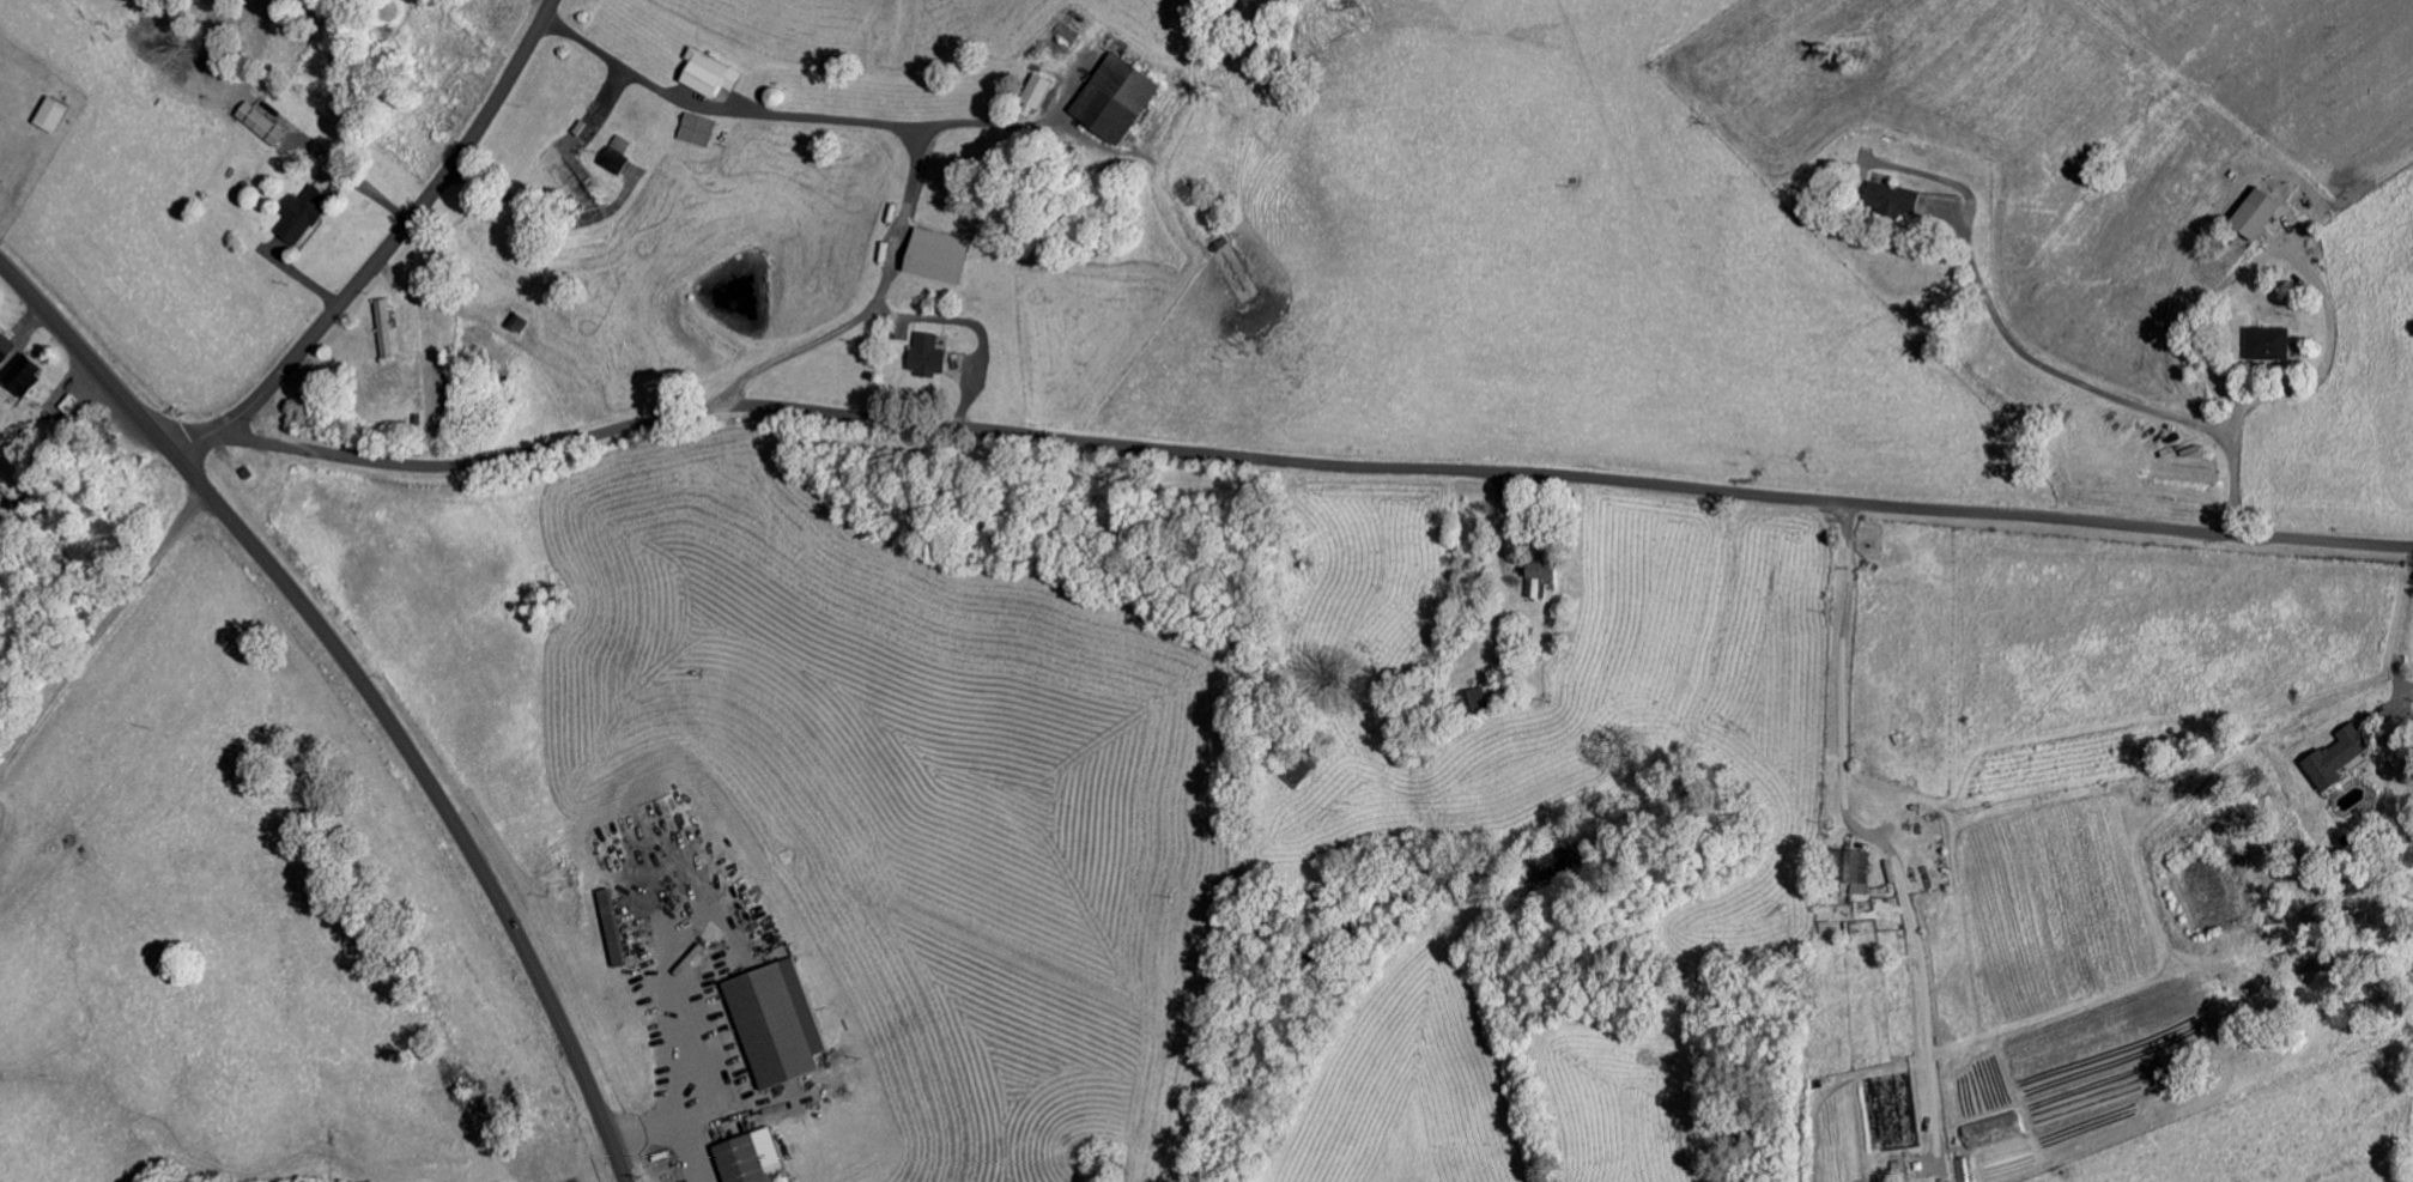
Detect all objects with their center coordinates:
building: (702, 78)
building: (1025, 93)
building: (1105, 99)
building: (43, 117)
building: (256, 127)
building: (692, 133)
building: (611, 159)
building: (1885, 202)
building: (296, 217)
building: (2250, 217)
road: (407, 224)
building: (930, 259)
building: (381, 332)
building: (2262, 347)
building: (2, 350)
building: (922, 359)
building: (17, 378)
building: (65, 410)
road: (1281, 459)
building: (1533, 580)
road: (364, 689)
building: (1467, 705)
building: (2332, 760)
building: (1845, 874)
building: (605, 932)
building: (770, 1026)
road: (839, 1047)
building: (1987, 1134)
building: (742, 1159)
building: (1960, 1171)

